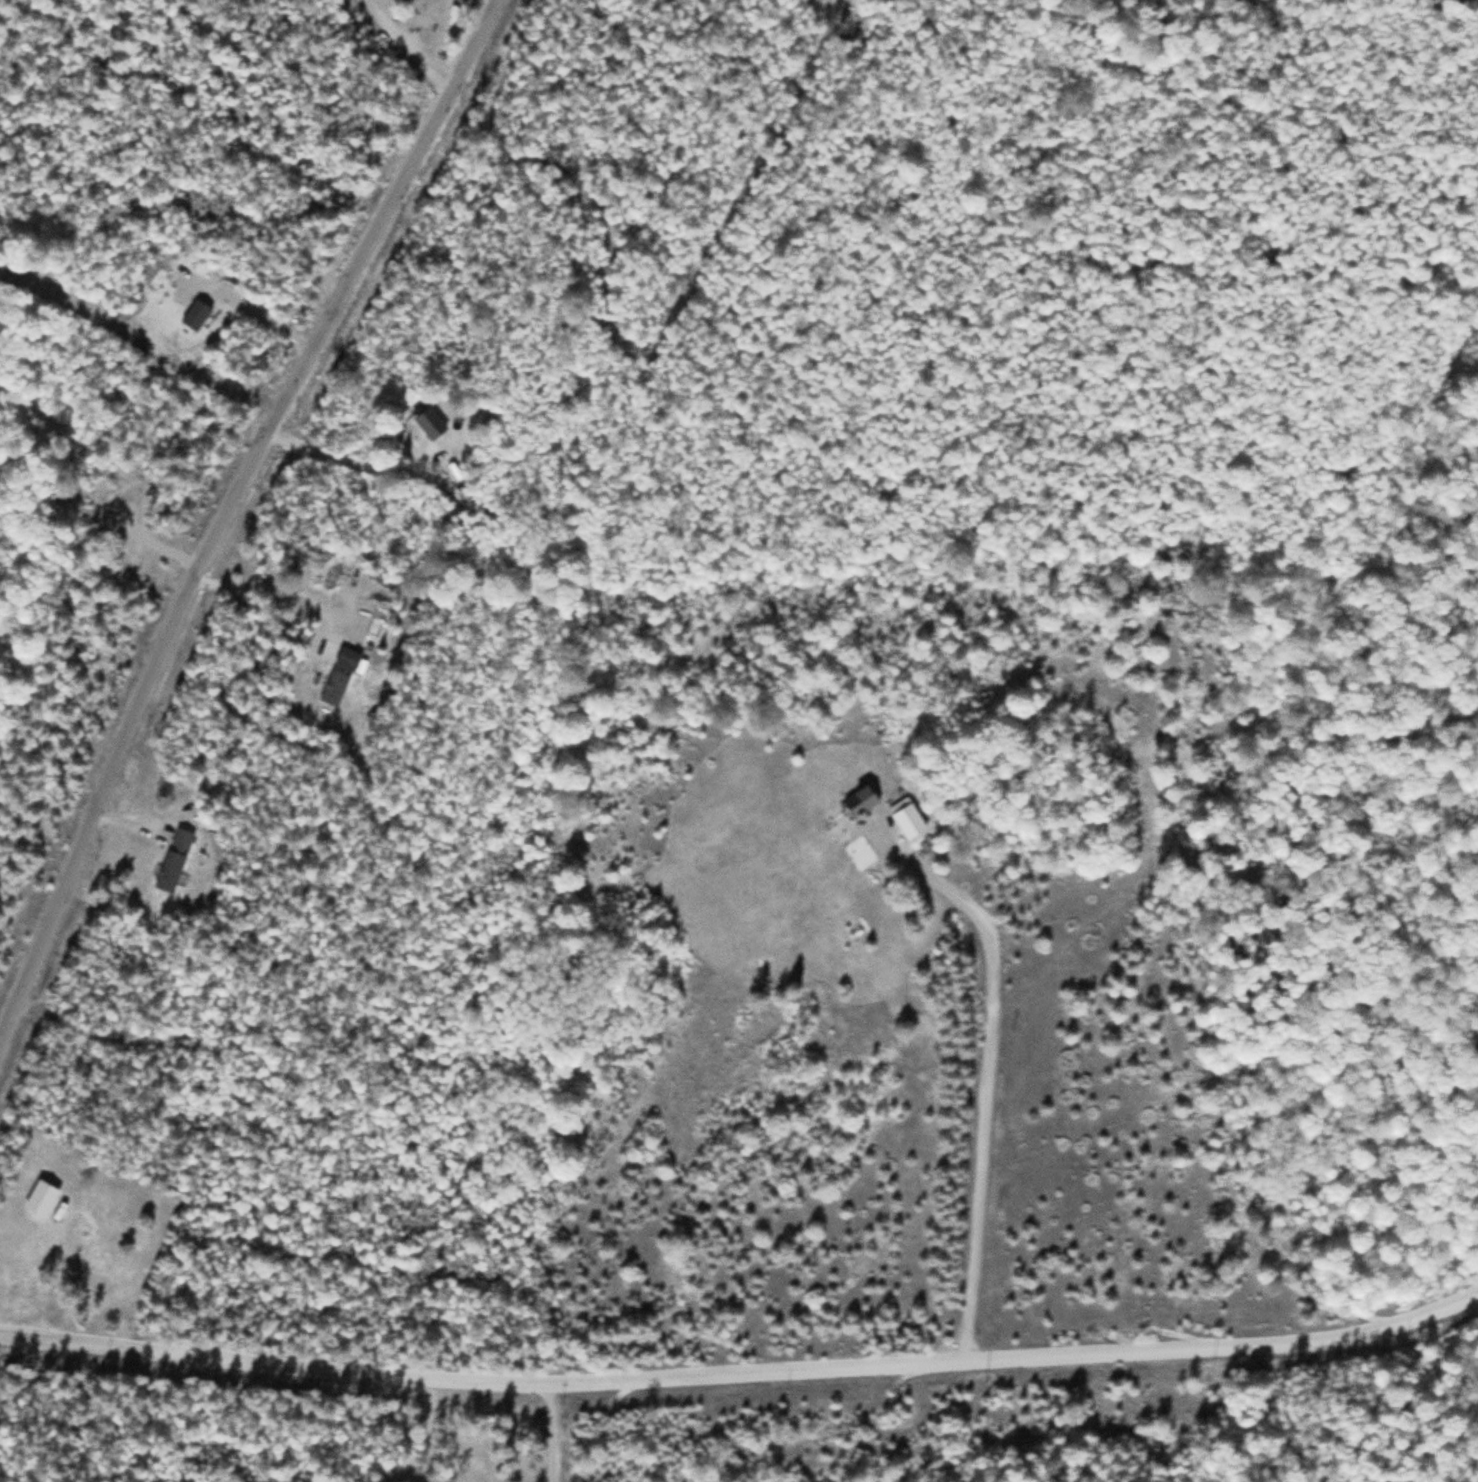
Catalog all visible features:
building: (430, 422)
road: (224, 504)
building: (347, 659)
building: (334, 689)
building: (860, 801)
building: (174, 860)
road: (944, 896)
road: (1055, 944)
building: (41, 1198)
road: (742, 1373)
road: (230, 1439)

